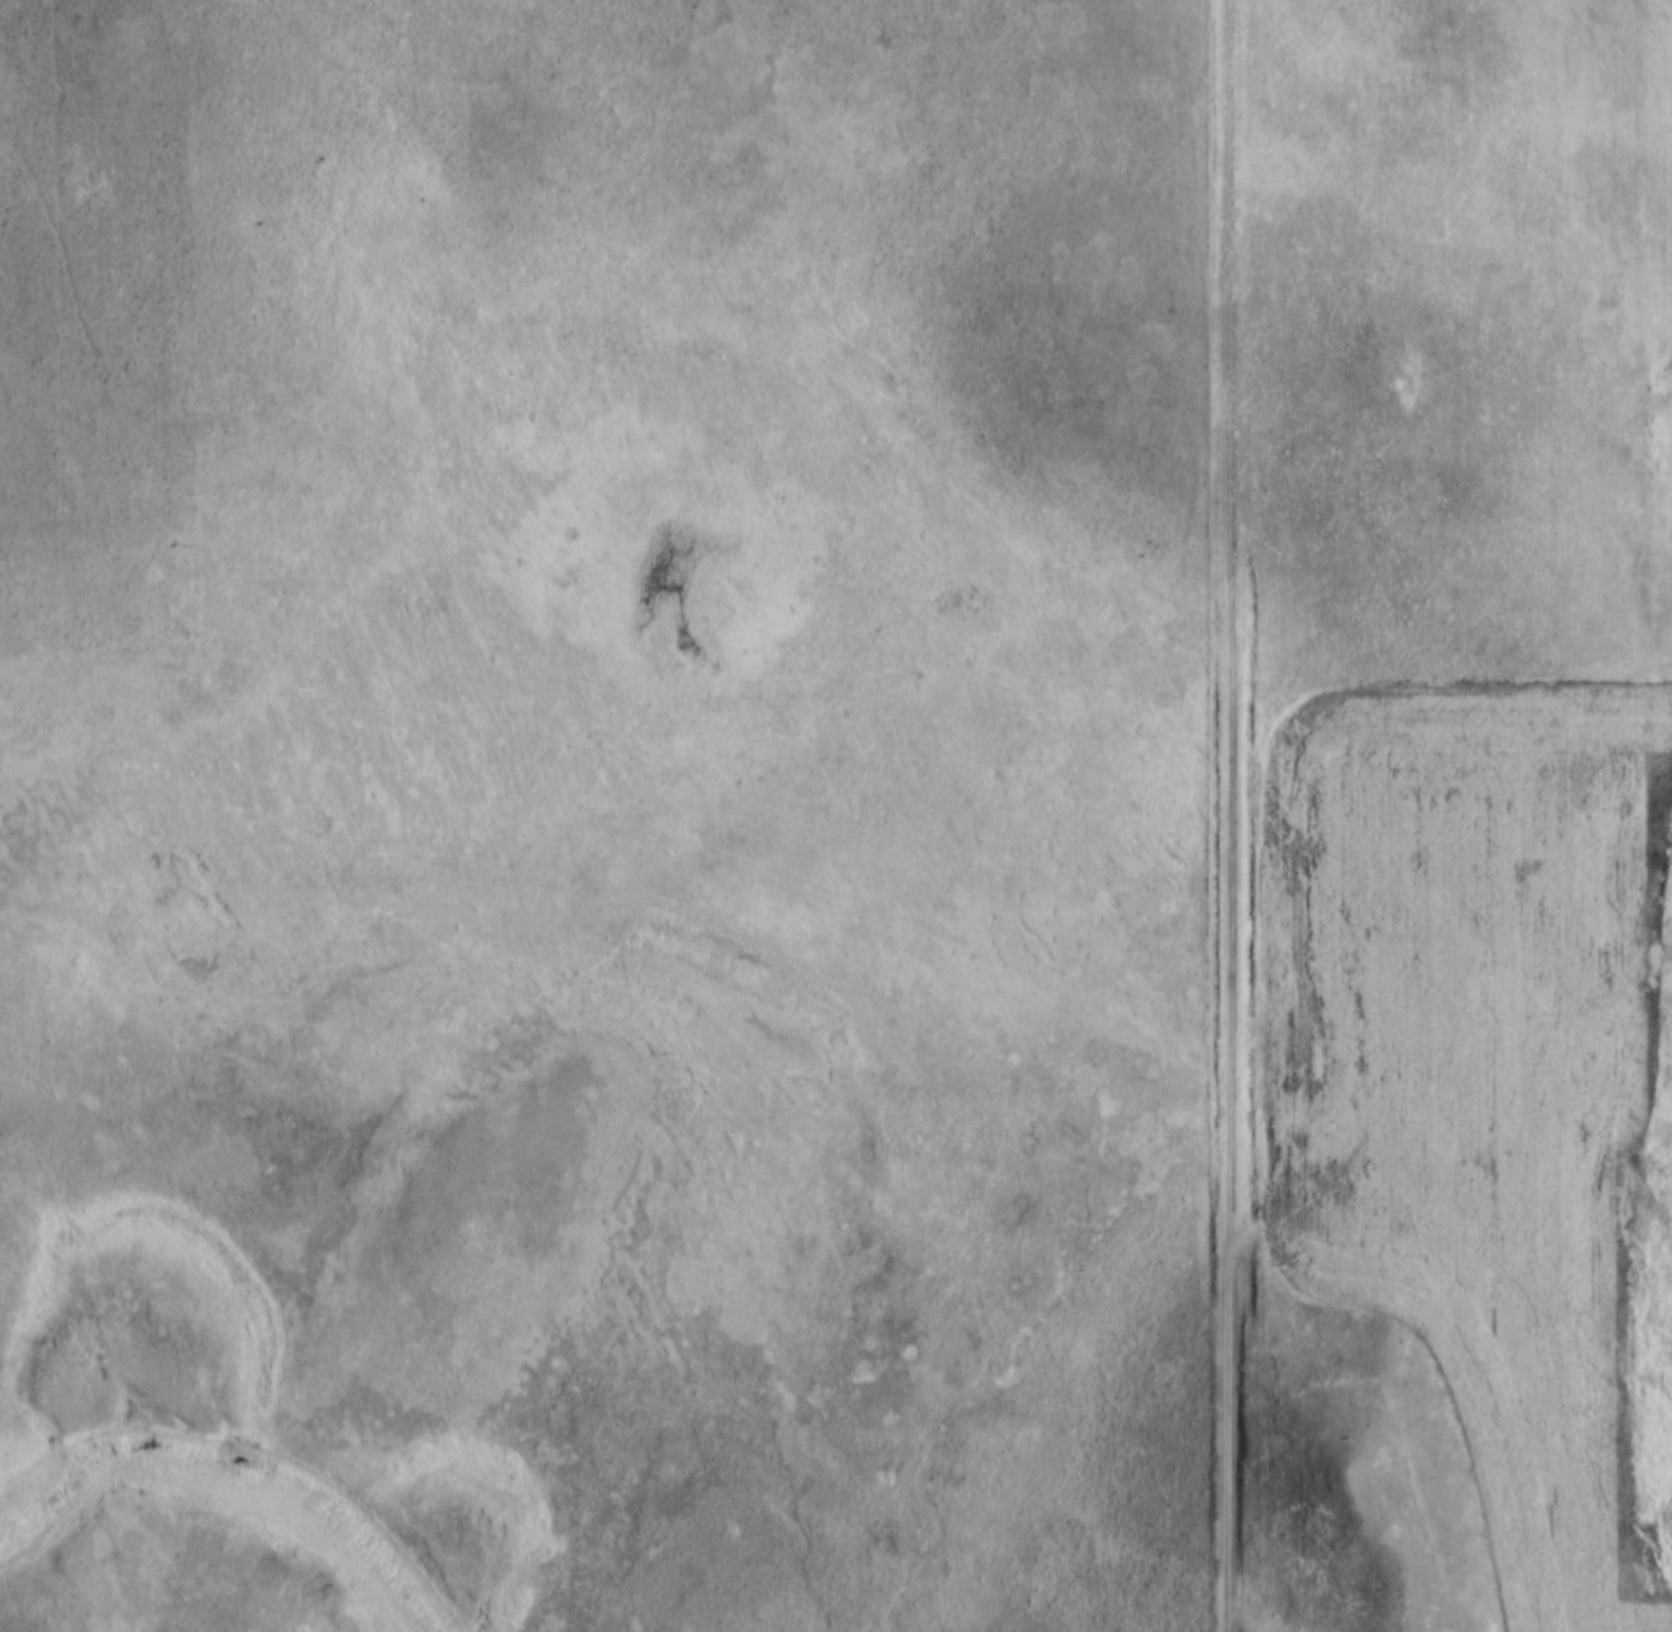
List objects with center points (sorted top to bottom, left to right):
road: (1229, 815)

